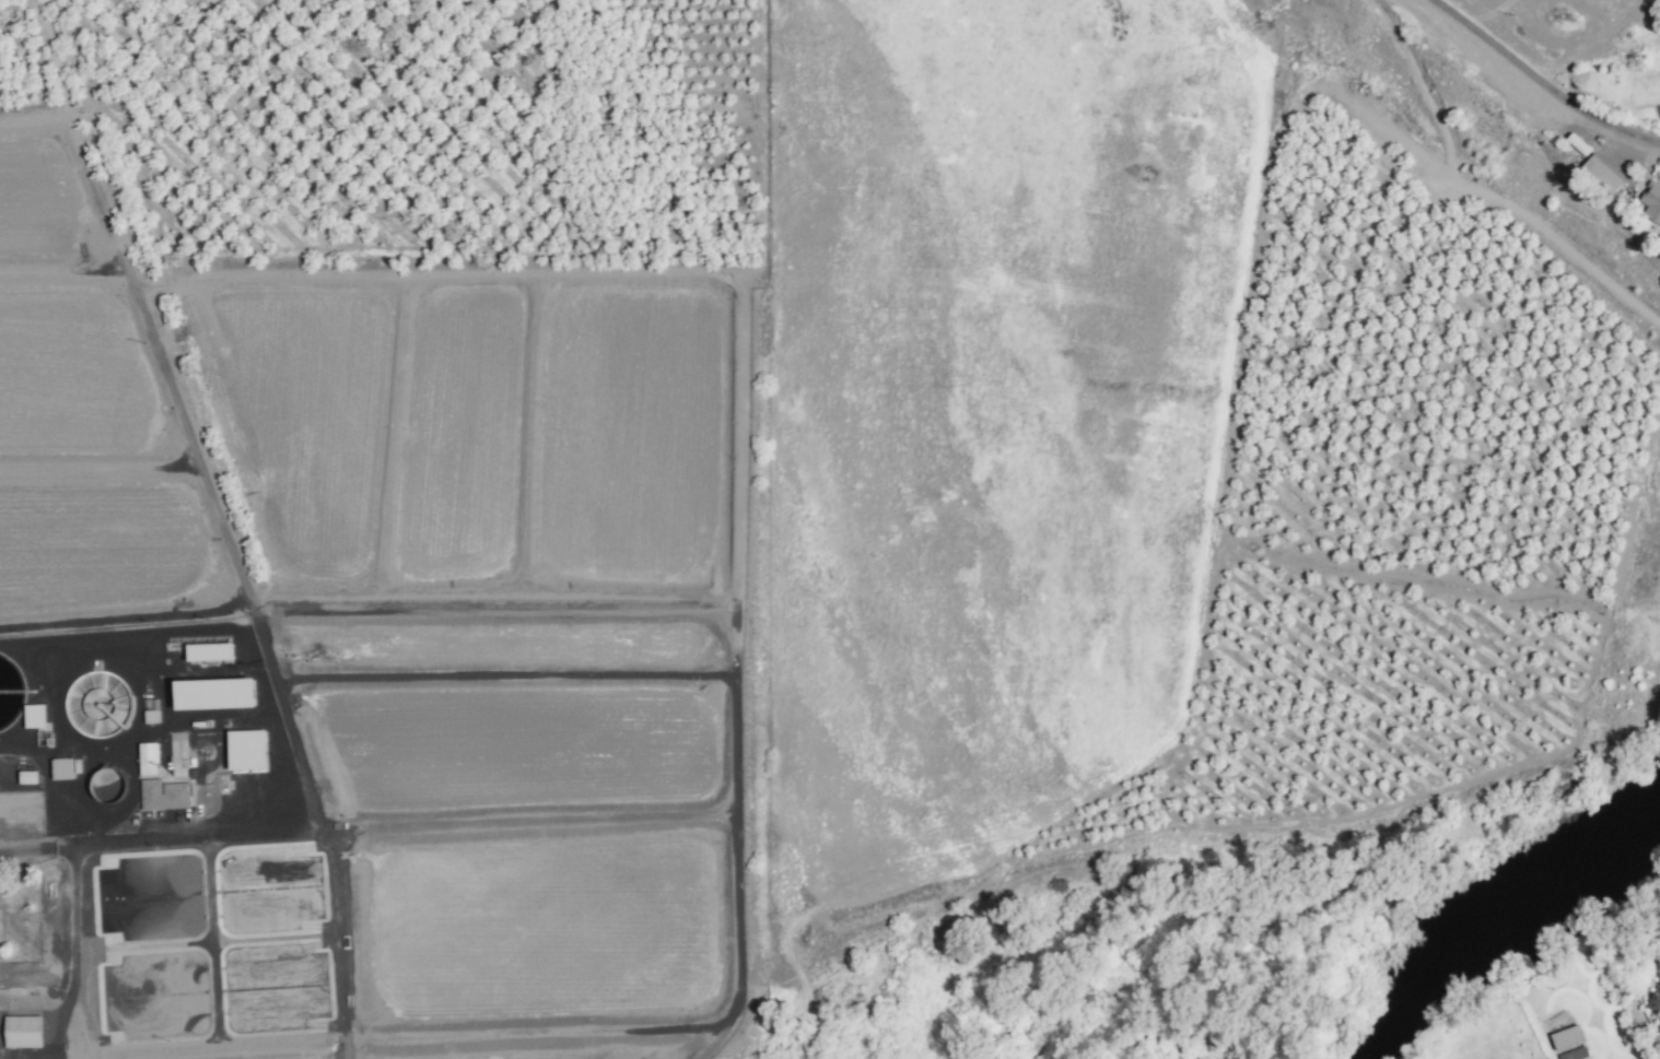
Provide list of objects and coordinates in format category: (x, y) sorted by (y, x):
road: (1544, 84)
crop: (393, 136)
building: (1603, 174)
building: (1650, 202)
crop: (1410, 534)
building: (210, 652)
building: (215, 694)
building: (34, 716)
building: (247, 750)
building: (147, 758)
building: (63, 768)
building: (164, 795)
river: (1489, 909)
road: (75, 932)
building: (1656, 1000)
building: (1658, 1028)
building: (23, 1032)
building: (1566, 1037)

